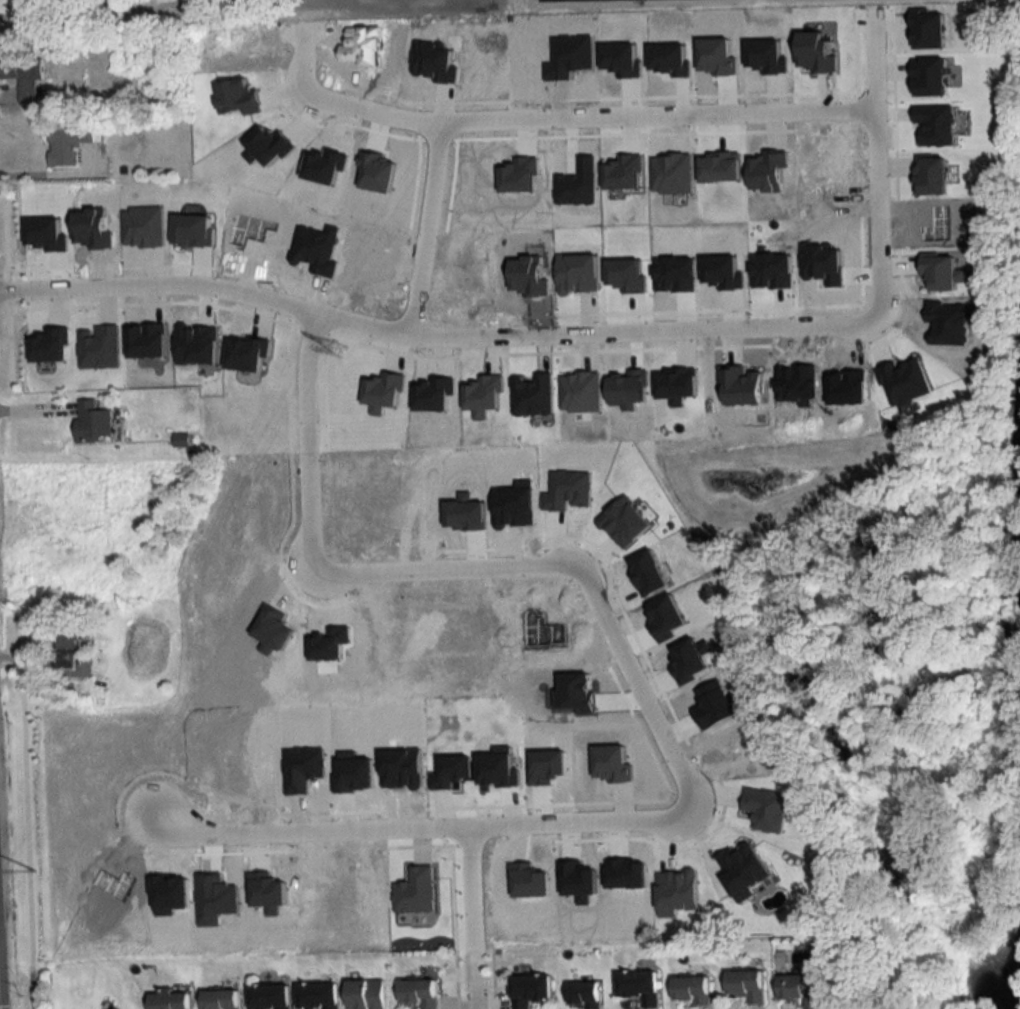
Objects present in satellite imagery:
road: (146, 11)
building: (22, 76)
road: (553, 115)
building: (69, 144)
road: (876, 163)
road: (425, 228)
road: (437, 335)
building: (94, 345)
power tower: (338, 347)
road: (37, 403)
building: (94, 424)
road: (304, 439)
road: (443, 570)
building: (66, 643)
road: (38, 666)
road: (635, 686)
road: (422, 827)
power tower: (32, 883)
road: (468, 918)
road: (35, 986)
building: (747, 987)
building: (639, 988)
building: (530, 991)
building: (801, 991)
building: (692, 992)
building: (419, 994)
building: (366, 995)
building: (583, 995)
building: (268, 996)
building: (317, 997)
building: (168, 999)
building: (219, 999)
park: (1019, 1000)

